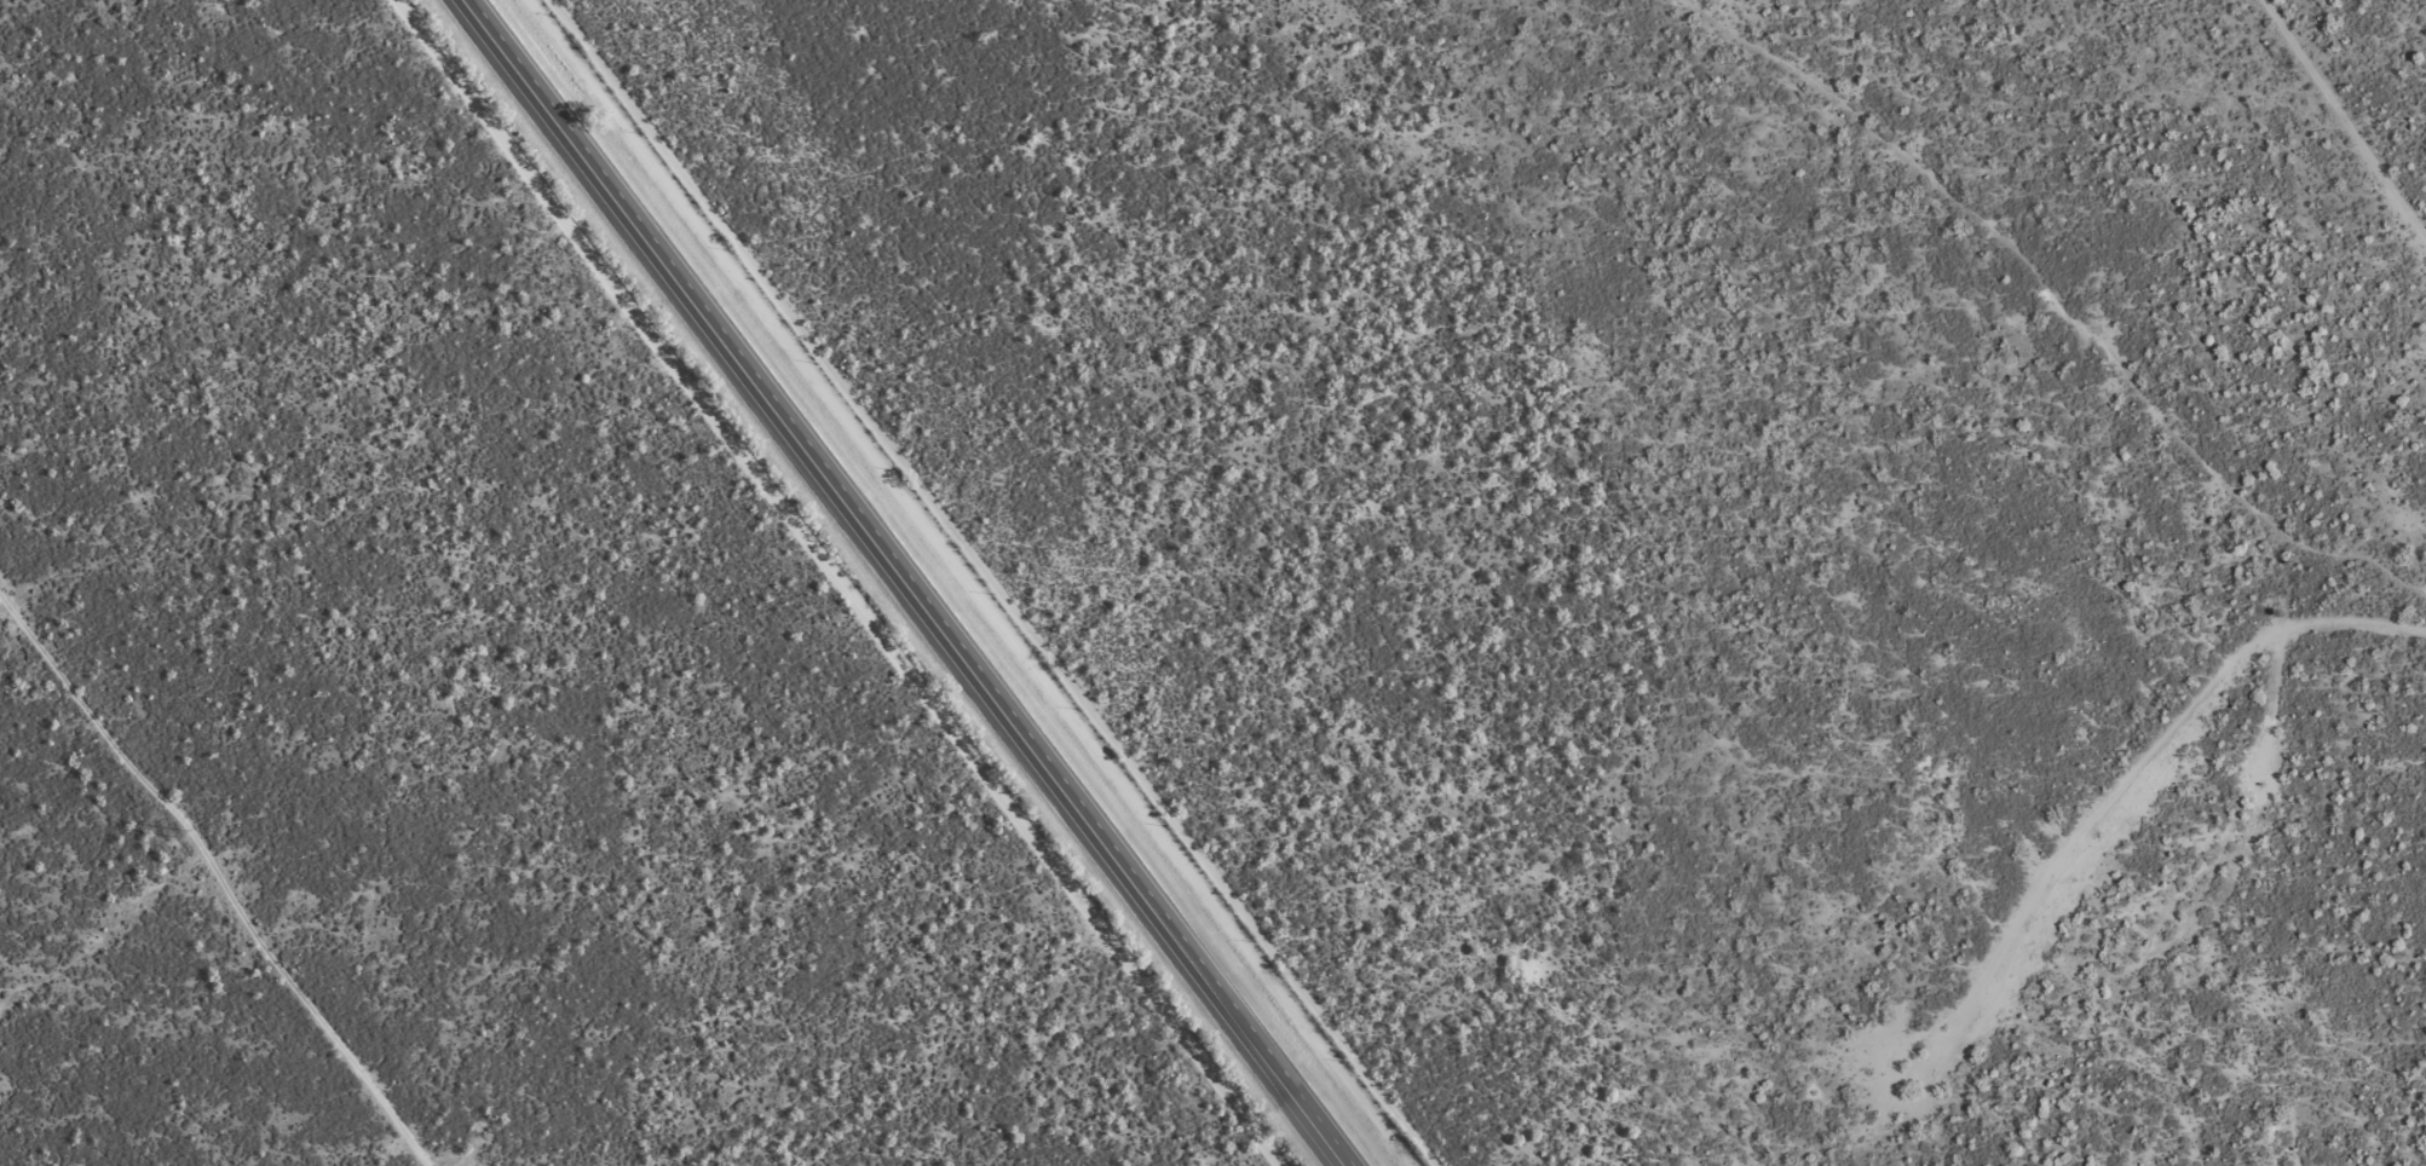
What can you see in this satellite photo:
road: (2001, 329)
road: (905, 583)
road: (2402, 703)
power tower: (188, 833)

